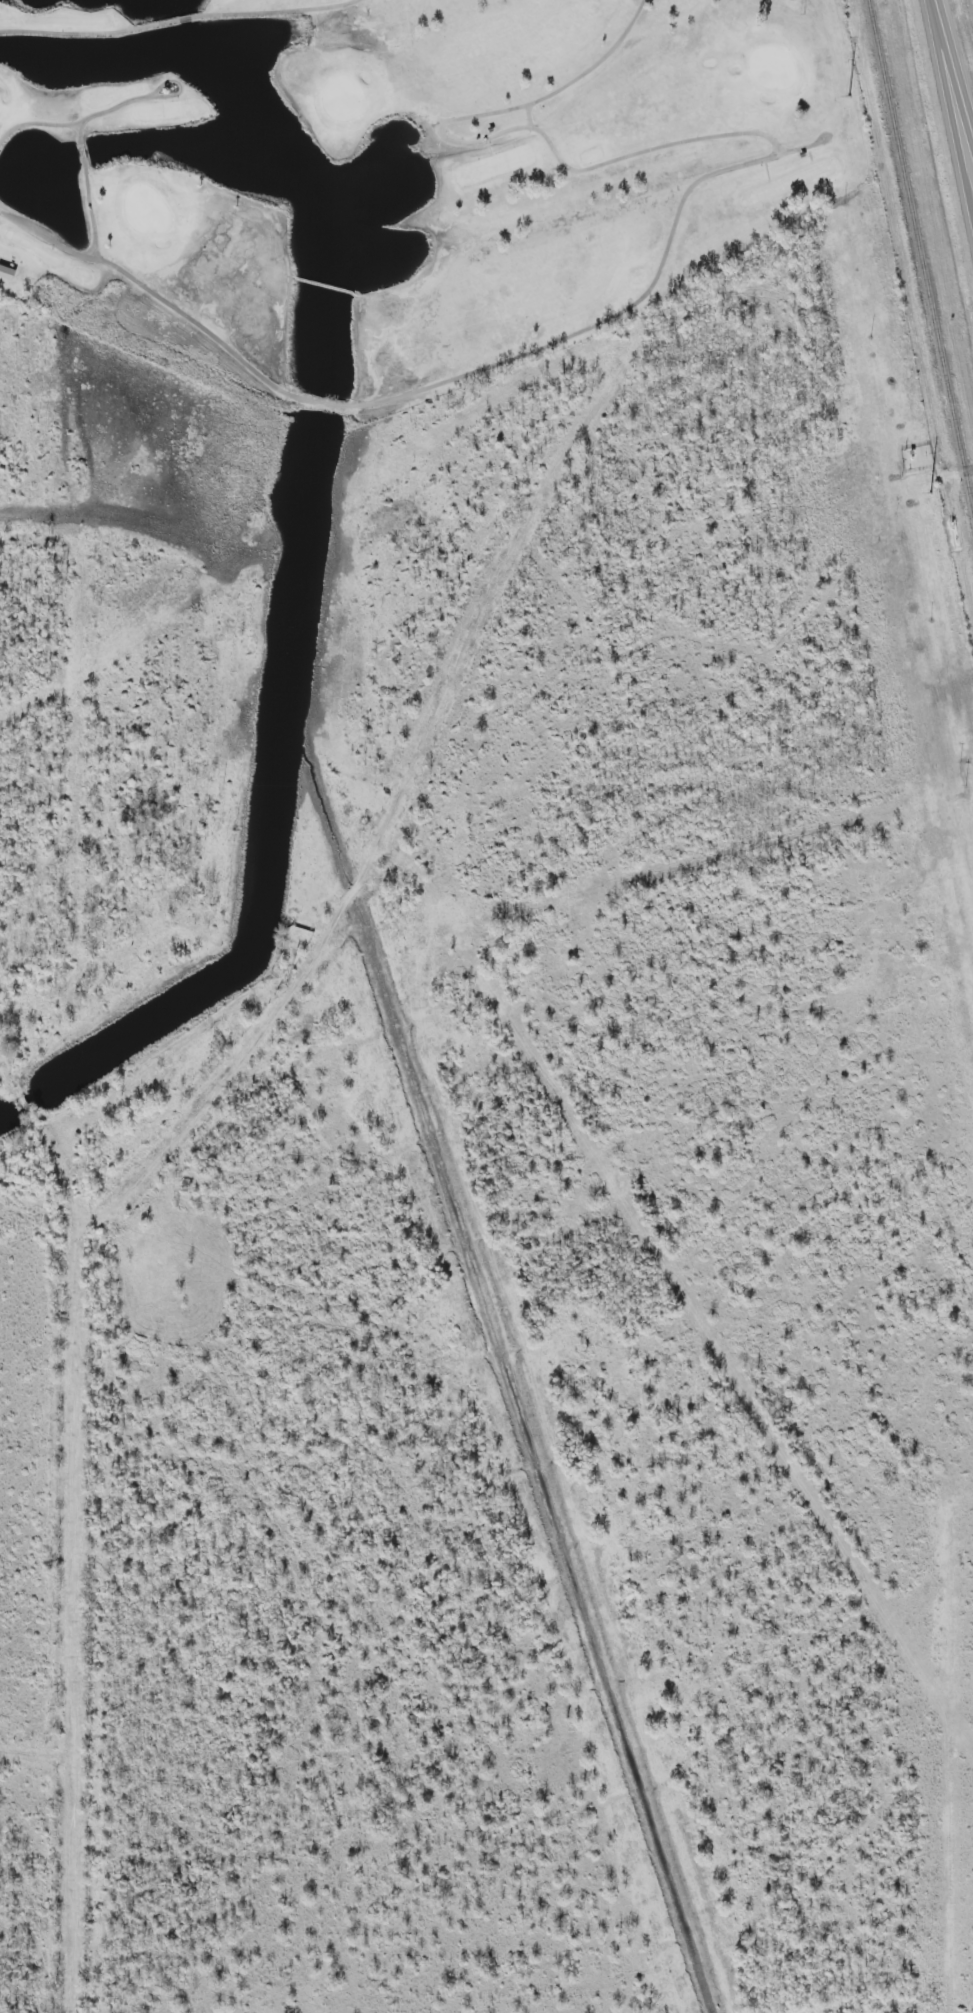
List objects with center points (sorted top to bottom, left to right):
road: (954, 64)
road: (953, 94)
power tower: (851, 98)
railway: (919, 256)
building: (8, 270)
power tower: (932, 493)

